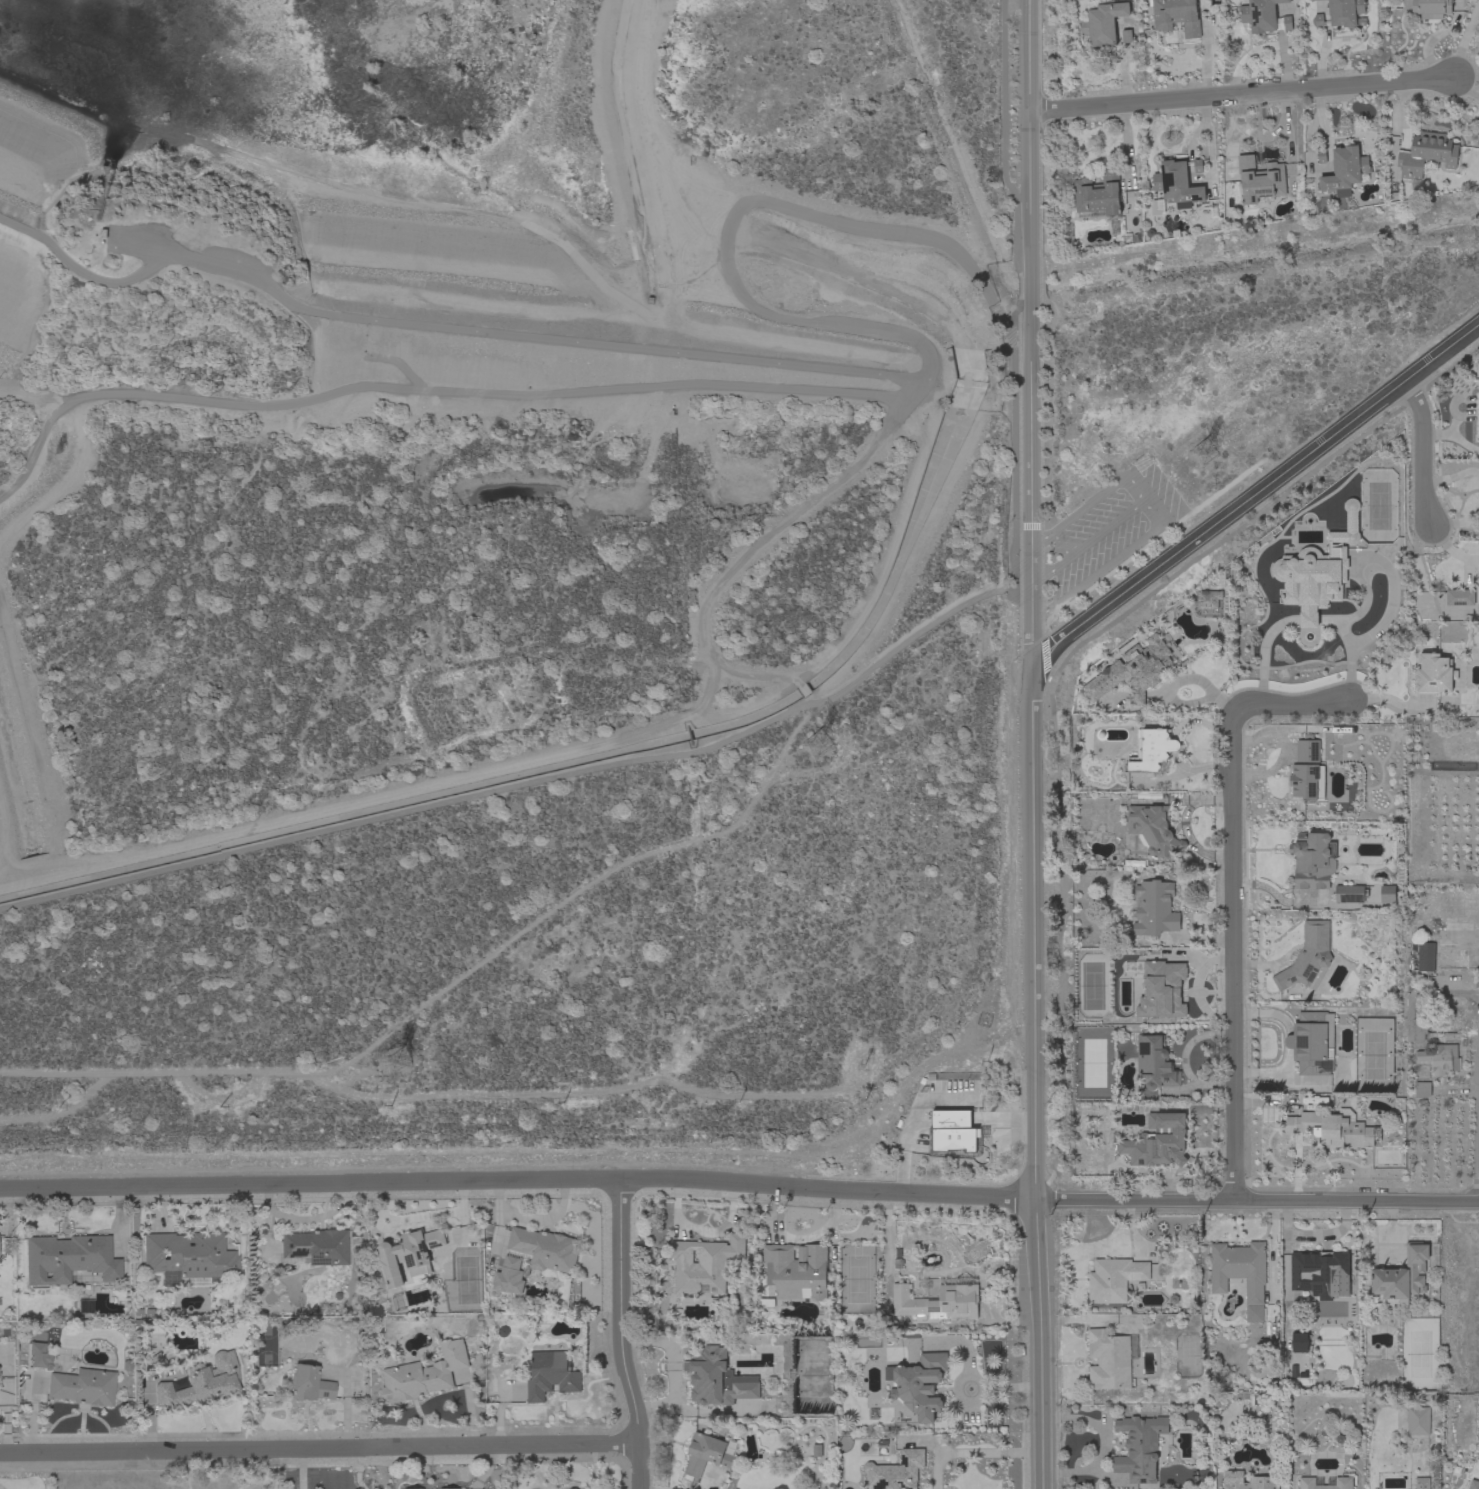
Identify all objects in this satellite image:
building: (1316, 0)
building: (1428, 8)
building: (1344, 12)
building: (1176, 16)
building: (1263, 16)
building: (1102, 22)
road: (1436, 35)
building: (1126, 37)
road: (1462, 40)
road: (1240, 92)
road: (1395, 126)
road: (1207, 146)
building: (1426, 154)
road: (1126, 156)
building: (1195, 165)
building: (1344, 171)
building: (1260, 181)
building: (1175, 183)
building: (1098, 193)
road: (731, 218)
dam: (442, 327)
road: (1028, 334)
road: (1452, 367)
road: (432, 389)
road: (1415, 399)
road: (1422, 451)
power tower: (1203, 454)
road: (1012, 460)
road: (65, 480)
road: (1252, 494)
road: (1141, 496)
road: (1026, 526)
parking lot: (1105, 527)
road: (1108, 563)
building: (1317, 572)
road: (1041, 581)
road: (1015, 588)
building: (1459, 597)
building: (1208, 599)
road: (1308, 621)
road: (1348, 649)
road: (1262, 653)
building: (1133, 672)
building: (1434, 674)
road: (758, 680)
road: (1050, 708)
road: (31, 742)
power tower: (815, 746)
building: (1151, 751)
building: (1307, 772)
road: (515, 785)
road: (388, 795)
building: (1153, 830)
road: (5, 846)
building: (1312, 860)
building: (1351, 893)
building: (1386, 894)
road: (1236, 901)
building: (1154, 908)
building: (1420, 957)
building: (1308, 958)
building: (1161, 990)
building: (1415, 1016)
building: (1312, 1043)
building: (1440, 1059)
power tower: (393, 1063)
building: (1154, 1063)
road: (1034, 1078)
building: (1422, 1089)
building: (1331, 1129)
building: (954, 1135)
building: (1157, 1142)
road: (518, 1179)
road: (1257, 1200)
building: (315, 1246)
building: (408, 1255)
building: (532, 1257)
building: (68, 1258)
building: (188, 1258)
building: (704, 1263)
building: (1238, 1269)
building: (1321, 1270)
building: (796, 1271)
building: (1401, 1277)
building: (1114, 1279)
building: (939, 1300)
road: (618, 1334)
building: (1299, 1342)
building: (37, 1354)
building: (1110, 1359)
building: (156, 1360)
road: (670, 1367)
building: (424, 1374)
building: (550, 1375)
building: (717, 1379)
road: (975, 1379)
building: (201, 1382)
building: (308, 1383)
building: (919, 1385)
building: (82, 1386)
building: (1418, 1421)
building: (1140, 1447)
road: (318, 1448)
building: (706, 1454)
road: (973, 1454)
building: (896, 1471)
building: (1263, 1480)
building: (1326, 1483)
building: (1422, 1483)
building: (1473, 1484)
building: (449, 1488)

